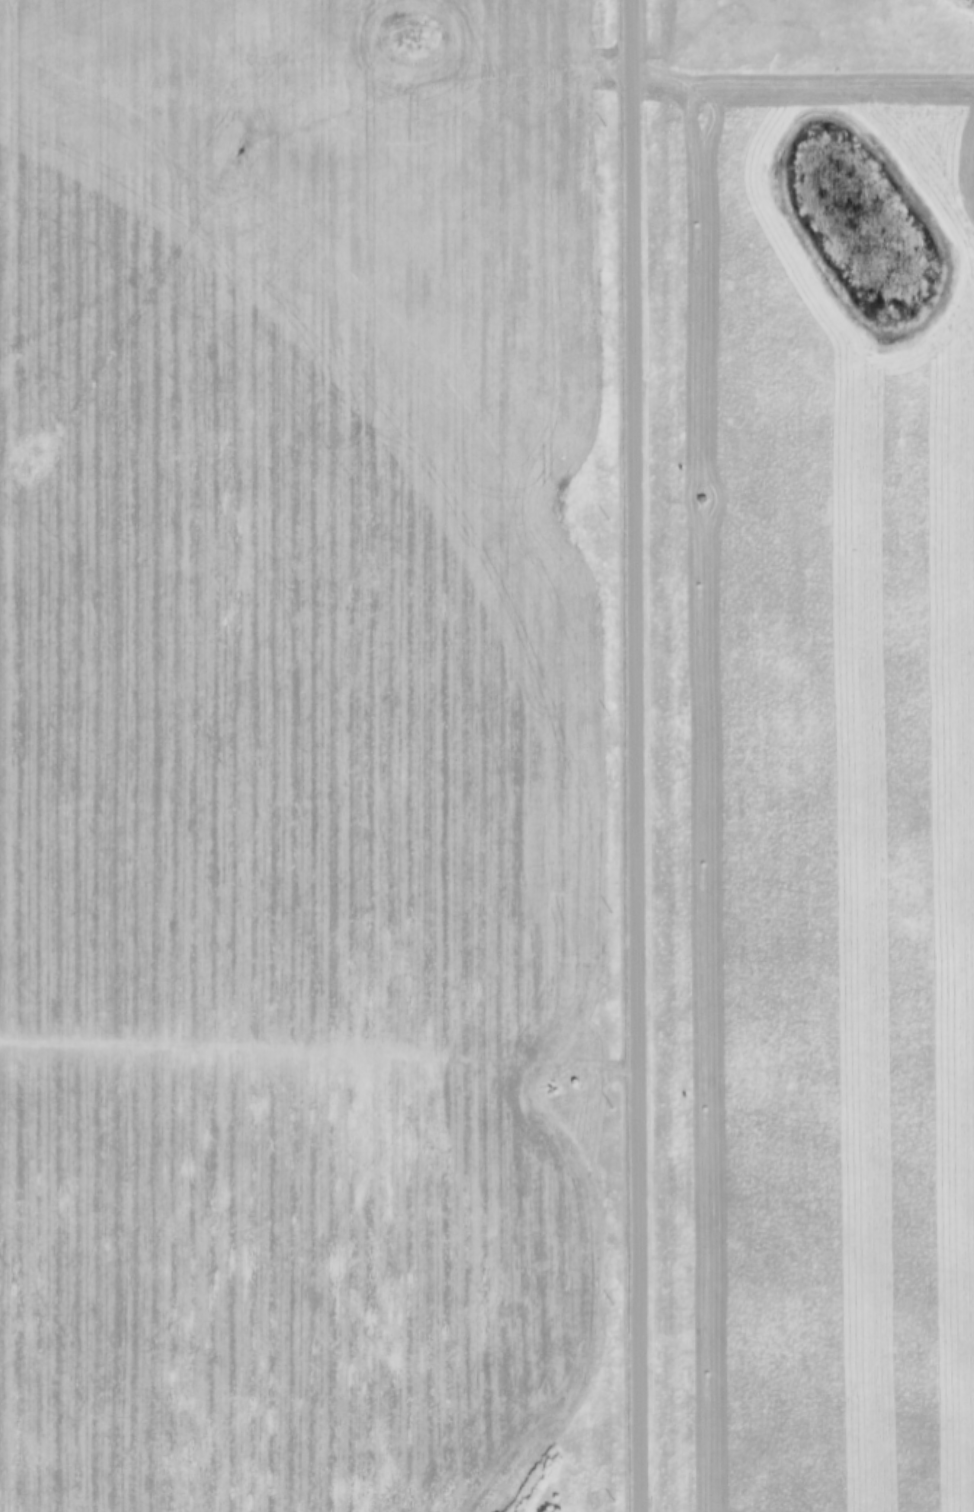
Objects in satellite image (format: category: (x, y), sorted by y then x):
road: (641, 755)
road: (321, 1061)

